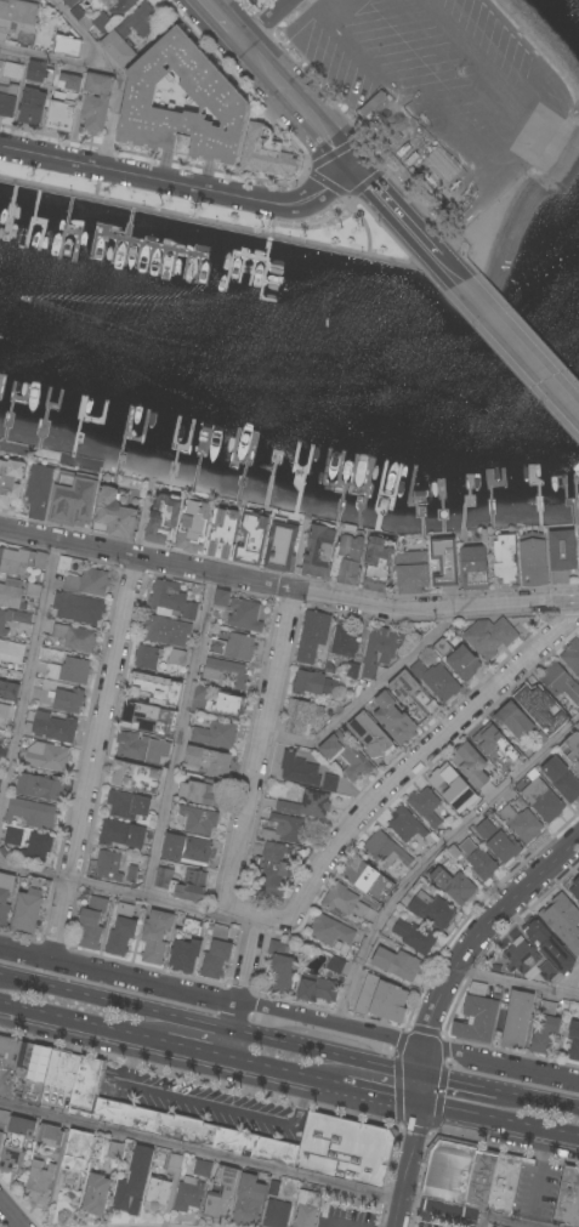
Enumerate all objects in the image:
building: (69, 2)
building: (119, 6)
road: (335, 7)
building: (17, 17)
building: (80, 17)
road: (226, 21)
road: (268, 21)
building: (129, 34)
building: (68, 45)
road: (55, 62)
road: (115, 73)
building: (39, 74)
road: (500, 81)
building: (10, 89)
building: (214, 93)
building: (64, 103)
building: (95, 103)
building: (32, 107)
road: (302, 107)
road: (424, 115)
railway: (461, 126)
building: (267, 154)
road: (182, 184)
road: (403, 222)
road: (512, 343)
building: (10, 483)
building: (40, 490)
building: (74, 504)
building: (114, 513)
building: (163, 518)
building: (192, 527)
building: (222, 534)
building: (252, 536)
building: (282, 546)
building: (319, 551)
building: (562, 555)
building: (351, 557)
building: (533, 559)
building: (21, 561)
building: (503, 561)
building: (378, 563)
building: (63, 564)
building: (444, 564)
building: (473, 568)
building: (411, 573)
building: (87, 583)
road: (288, 587)
building: (33, 591)
building: (15, 597)
building: (220, 603)
building: (78, 609)
building: (170, 614)
building: (244, 615)
building: (12, 619)
building: (313, 636)
building: (74, 637)
building: (489, 637)
building: (345, 642)
building: (234, 647)
building: (380, 651)
building: (11, 652)
building: (572, 655)
building: (148, 657)
building: (177, 658)
building: (459, 659)
building: (69, 671)
building: (352, 671)
building: (226, 672)
road: (29, 677)
building: (437, 681)
building: (560, 682)
building: (313, 683)
building: (8, 691)
building: (155, 691)
building: (413, 693)
road: (369, 697)
building: (67, 700)
building: (216, 703)
building: (539, 704)
building: (4, 711)
building: (302, 717)
building: (148, 718)
building: (394, 720)
building: (513, 720)
building: (55, 728)
road: (178, 734)
building: (216, 734)
building: (373, 737)
building: (539, 739)
building: (496, 744)
building: (142, 749)
building: (571, 750)
building: (2, 755)
building: (46, 756)
road: (96, 756)
building: (346, 756)
road: (419, 759)
building: (209, 762)
building: (471, 765)
road: (257, 767)
building: (297, 768)
building: (136, 777)
building: (562, 779)
building: (0, 780)
building: (452, 786)
building: (41, 788)
building: (204, 793)
building: (541, 799)
building: (313, 800)
building: (127, 806)
building: (425, 806)
building: (30, 813)
building: (199, 820)
building: (521, 823)
building: (405, 825)
building: (286, 829)
building: (486, 830)
building: (121, 835)
building: (13, 836)
building: (36, 847)
building: (504, 847)
building: (187, 850)
building: (385, 851)
road: (435, 854)
building: (478, 859)
building: (276, 864)
building: (109, 865)
building: (91, 868)
building: (131, 873)
building: (164, 879)
building: (367, 879)
building: (454, 885)
building: (193, 886)
road: (113, 888)
building: (575, 888)
building: (5, 897)
building: (344, 902)
building: (30, 907)
building: (432, 910)
building: (566, 921)
building: (92, 922)
road: (269, 922)
road: (483, 928)
building: (121, 931)
building: (330, 931)
building: (157, 936)
building: (415, 937)
building: (186, 947)
building: (550, 947)
building: (216, 954)
building: (522, 956)
building: (397, 964)
building: (335, 965)
building: (280, 968)
building: (547, 971)
building: (578, 978)
road: (567, 981)
building: (578, 981)
road: (515, 984)
road: (243, 988)
building: (317, 989)
road: (211, 996)
building: (381, 999)
building: (477, 1015)
building: (517, 1019)
road: (83, 1021)
road: (210, 1026)
building: (546, 1029)
building: (574, 1041)
road: (199, 1050)
road: (422, 1060)
road: (501, 1060)
building: (23, 1068)
road: (286, 1072)
traffic signals: (421, 1077)
road: (460, 1085)
road: (419, 1091)
road: (379, 1096)
road: (539, 1102)
road: (208, 1104)
traffic signals: (418, 1106)
building: (138, 1118)
road: (498, 1123)
building: (4, 1124)
building: (50, 1136)
building: (16, 1143)
building: (115, 1151)
road: (200, 1153)
building: (74, 1160)
building: (175, 1161)
road: (407, 1166)
building: (201, 1168)
building: (449, 1170)
building: (482, 1178)
road: (538, 1181)
building: (39, 1182)
building: (134, 1182)
building: (505, 1182)
building: (96, 1194)
building: (188, 1194)
building: (222, 1194)
building: (158, 1195)
building: (568, 1198)
building: (249, 1200)
building: (306, 1209)
road: (447, 1211)
road: (11, 1214)
building: (276, 1214)
road: (503, 1223)

